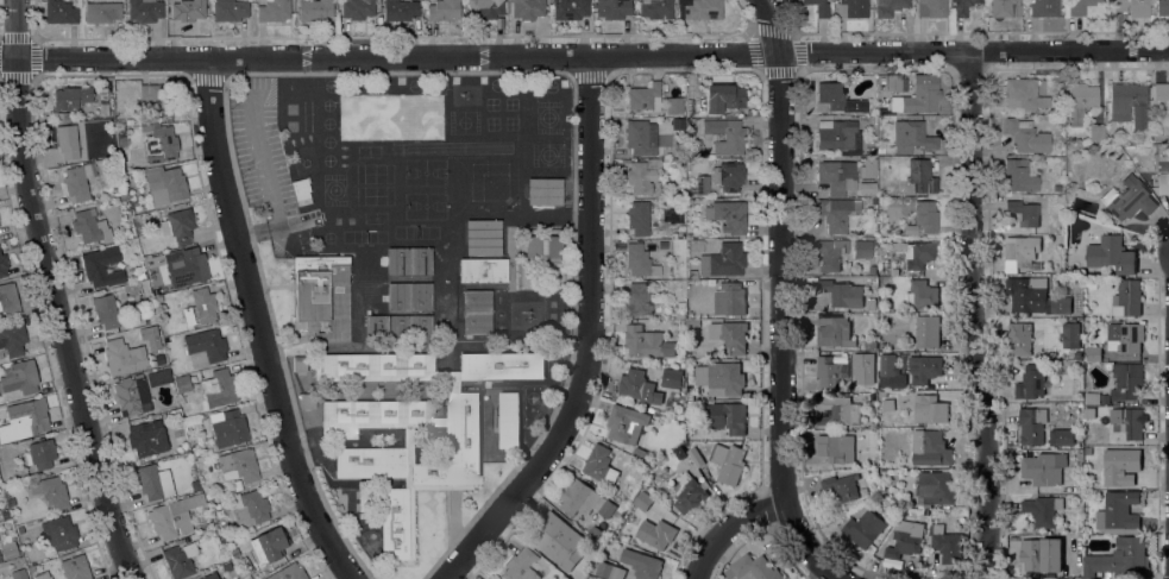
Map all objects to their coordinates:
building: (963, 6)
building: (1080, 6)
building: (818, 7)
building: (888, 7)
building: (1004, 7)
building: (1043, 7)
building: (1132, 7)
building: (1162, 7)
building: (358, 8)
building: (484, 8)
building: (528, 8)
building: (570, 8)
building: (612, 8)
building: (655, 8)
building: (696, 8)
building: (850, 8)
building: (931, 8)
building: (144, 10)
building: (187, 10)
building: (314, 10)
building: (398, 10)
building: (442, 10)
building: (61, 11)
building: (230, 11)
building: (272, 11)
building: (101, 12)
road: (584, 55)
building: (893, 82)
building: (1162, 93)
building: (1023, 94)
building: (645, 96)
building: (70, 97)
building: (723, 97)
building: (834, 97)
building: (920, 97)
building: (155, 99)
building: (1080, 101)
building: (102, 102)
building: (1127, 103)
building: (674, 105)
building: (882, 109)
building: (63, 117)
building: (128, 121)
building: (120, 122)
building: (678, 122)
building: (120, 131)
building: (1096, 132)
building: (725, 136)
building: (838, 136)
building: (910, 136)
building: (1026, 136)
building: (714, 137)
building: (639, 138)
building: (68, 141)
building: (159, 144)
building: (872, 150)
building: (867, 168)
building: (1020, 175)
building: (642, 176)
building: (729, 176)
building: (837, 176)
building: (922, 176)
building: (128, 177)
building: (77, 182)
building: (1163, 183)
building: (164, 184)
building: (702, 184)
building: (1070, 185)
building: (1057, 188)
building: (301, 190)
building: (543, 191)
building: (1129, 199)
building: (873, 201)
building: (836, 213)
building: (1024, 213)
building: (728, 215)
building: (639, 218)
building: (922, 218)
building: (90, 226)
building: (178, 226)
building: (483, 237)
building: (133, 241)
building: (696, 243)
building: (543, 246)
building: (861, 248)
building: (831, 253)
building: (915, 253)
building: (1024, 253)
building: (1111, 256)
building: (409, 260)
building: (639, 260)
building: (723, 260)
building: (2, 265)
building: (102, 266)
building: (186, 266)
building: (483, 270)
building: (1077, 279)
building: (158, 289)
road: (54, 294)
building: (842, 294)
building: (409, 295)
building: (923, 295)
building: (706, 297)
building: (734, 298)
building: (1033, 298)
building: (1127, 298)
building: (8, 300)
building: (159, 300)
building: (637, 300)
road: (781, 301)
building: (680, 306)
building: (200, 307)
building: (106, 310)
building: (477, 311)
building: (680, 315)
road: (979, 315)
building: (150, 319)
building: (695, 325)
road: (260, 326)
building: (397, 328)
building: (834, 333)
building: (925, 333)
building: (1069, 333)
building: (150, 338)
building: (734, 338)
building: (1124, 338)
building: (12, 339)
road: (592, 339)
building: (1043, 339)
building: (1018, 340)
building: (647, 344)
building: (868, 346)
building: (205, 347)
building: (1093, 354)
building: (867, 355)
building: (124, 357)
building: (298, 364)
building: (1050, 364)
building: (887, 365)
building: (925, 371)
building: (830, 372)
building: (156, 377)
building: (20, 378)
building: (721, 378)
building: (1030, 382)
building: (1126, 382)
building: (182, 384)
building: (648, 385)
building: (219, 388)
building: (881, 395)
building: (132, 396)
building: (689, 396)
building: (307, 399)
building: (1092, 399)
building: (392, 401)
building: (887, 405)
building: (930, 410)
building: (838, 413)
building: (1089, 413)
building: (728, 417)
building: (24, 420)
building: (509, 421)
building: (1129, 422)
building: (626, 424)
building: (873, 426)
building: (1031, 426)
building: (227, 427)
building: (1064, 438)
building: (146, 439)
building: (836, 448)
building: (930, 449)
building: (679, 452)
building: (1087, 452)
building: (38, 454)
building: (640, 454)
building: (1076, 455)
building: (696, 458)
building: (729, 464)
building: (238, 465)
building: (599, 465)
building: (1120, 467)
building: (1043, 470)
building: (155, 482)
building: (237, 484)
building: (197, 485)
building: (841, 487)
building: (936, 487)
building: (7, 491)
building: (51, 491)
building: (690, 495)
building: (578, 498)
building: (365, 499)
building: (615, 506)
building: (249, 508)
building: (1042, 510)
building: (1118, 511)
building: (926, 512)
building: (4, 515)
building: (174, 516)
building: (863, 529)
building: (20, 530)
road: (729, 530)
building: (59, 533)
building: (547, 533)
building: (660, 533)
building: (903, 542)
building: (269, 545)
building: (947, 546)
building: (8, 549)
building: (234, 553)
building: (1035, 554)
building: (1126, 556)
building: (0, 560)
building: (180, 560)
building: (641, 564)
building: (520, 565)
building: (226, 566)
building: (75, 567)
building: (752, 568)
building: (31, 569)
building: (608, 571)
building: (288, 572)
building: (18, 574)
building: (1086, 574)
building: (42, 575)
building: (210, 575)

